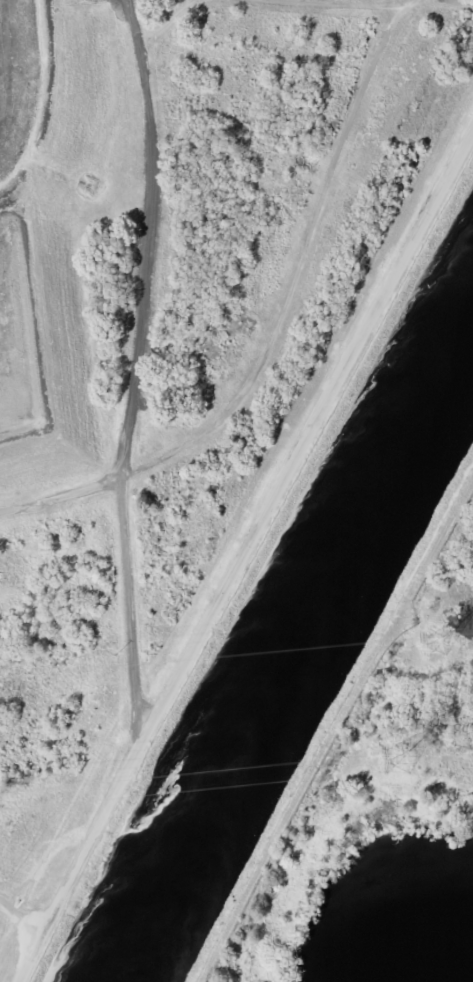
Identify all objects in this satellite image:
road: (135, 377)
road: (60, 498)
road: (244, 559)
power tower: (436, 647)
power tower: (396, 761)
road: (22, 916)

